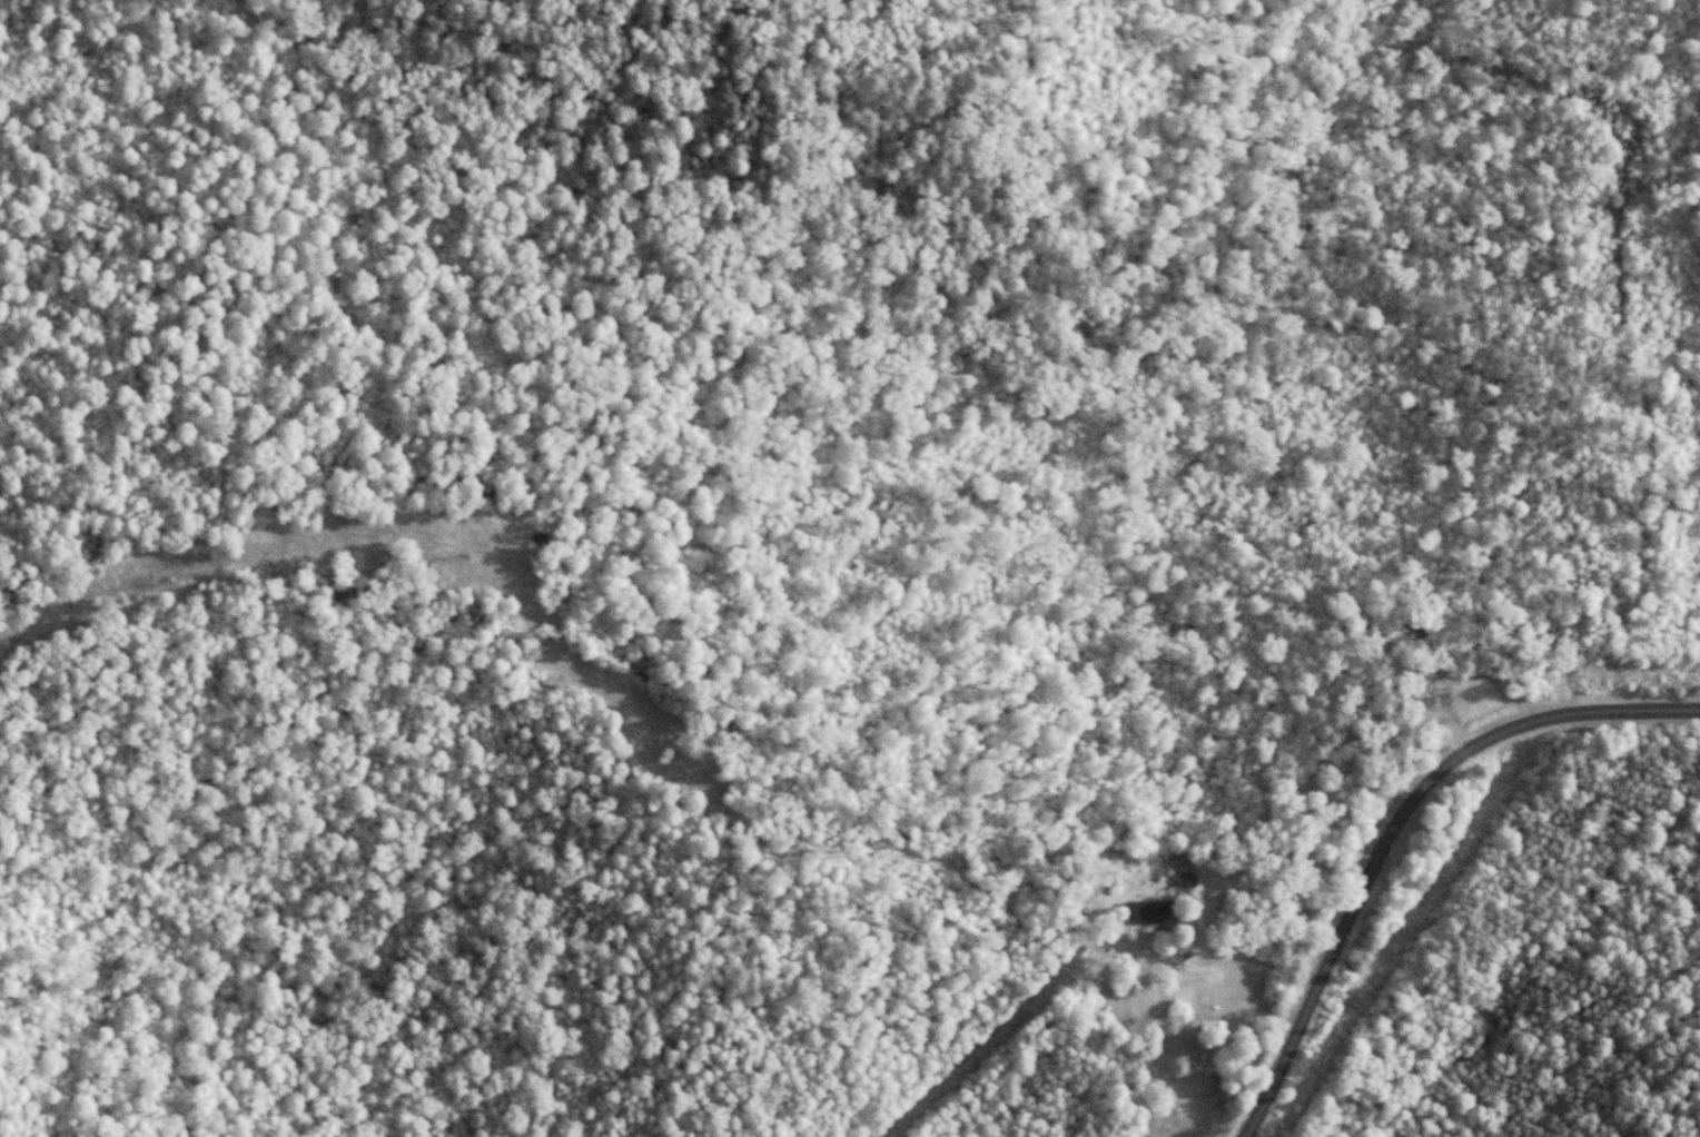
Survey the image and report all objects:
road: (1396, 823)

